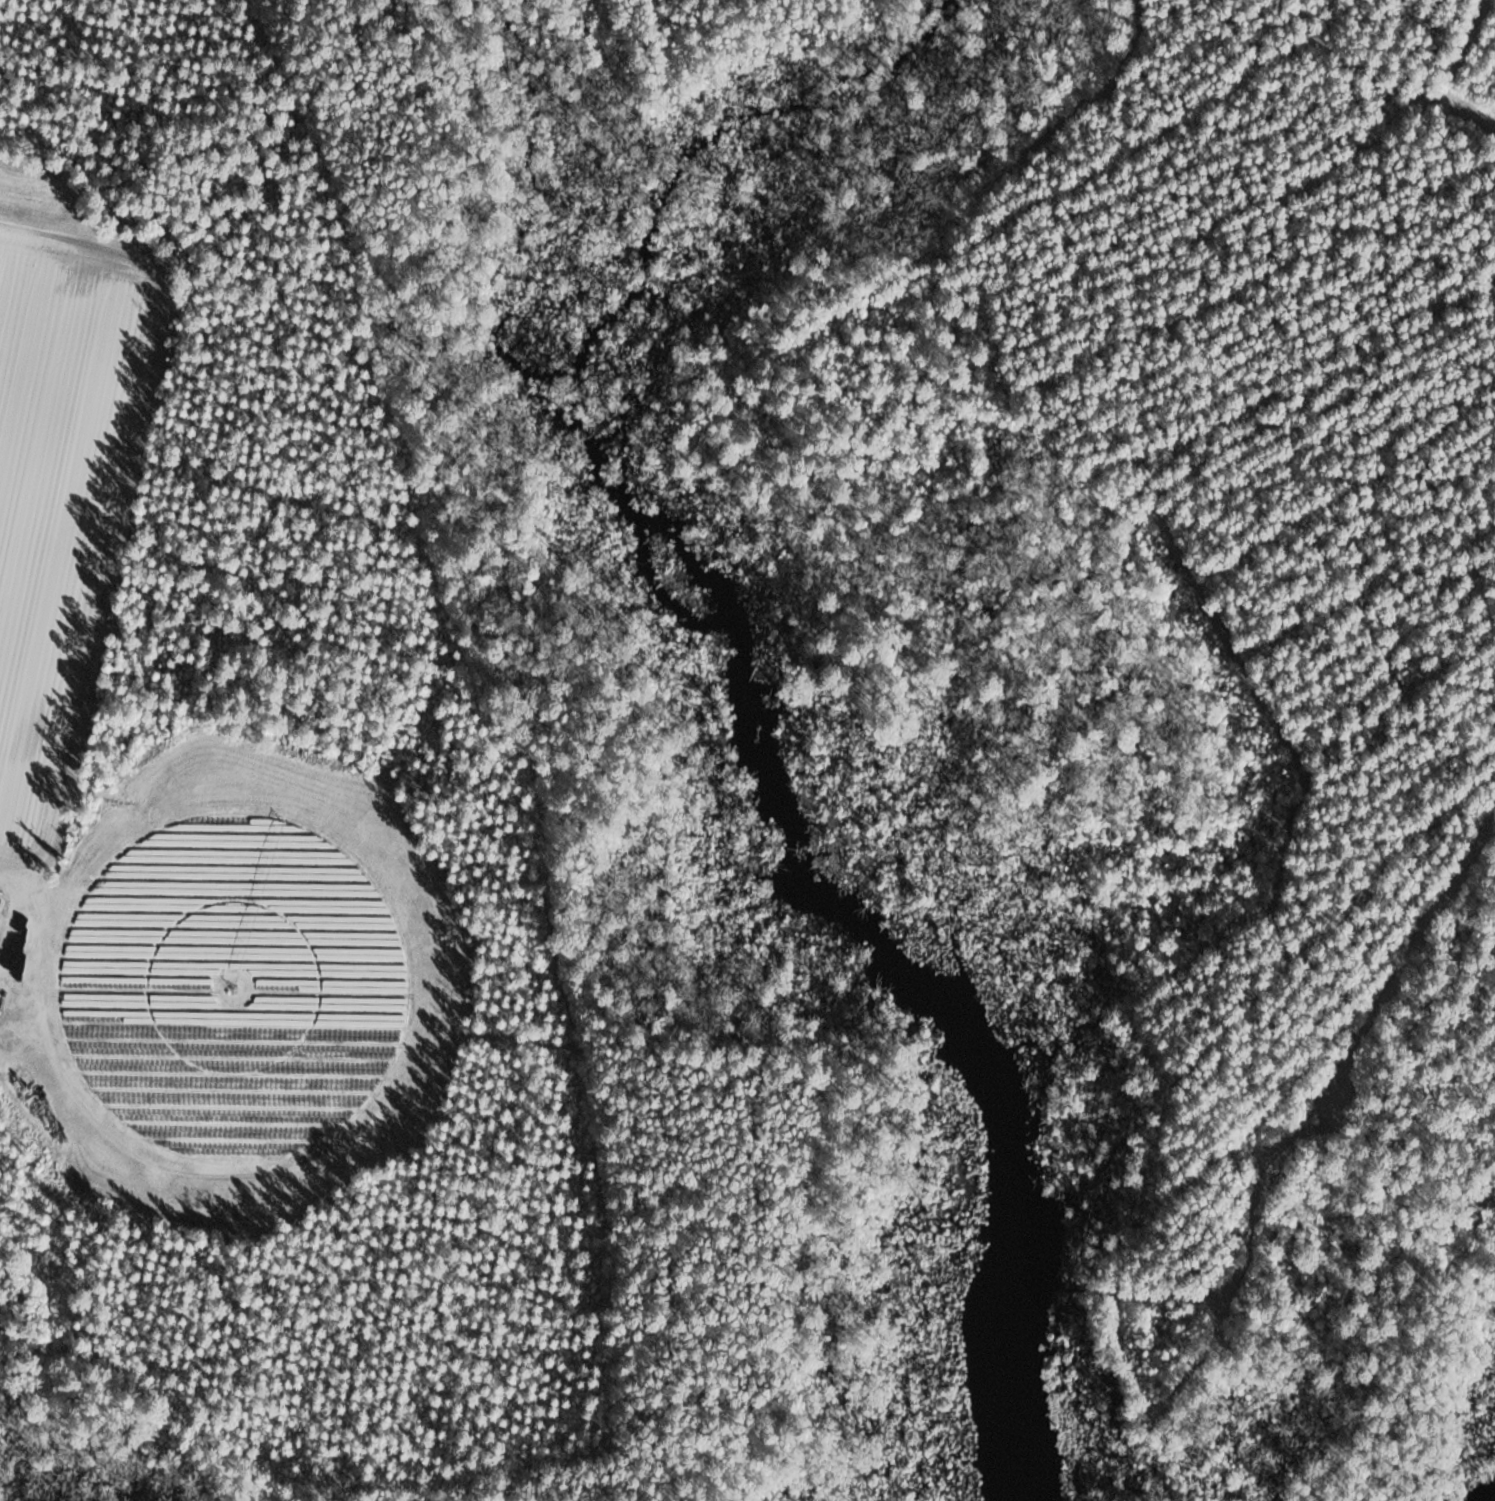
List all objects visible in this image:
road: (14, 878)
building: (0, 918)
road: (1271, 1143)

